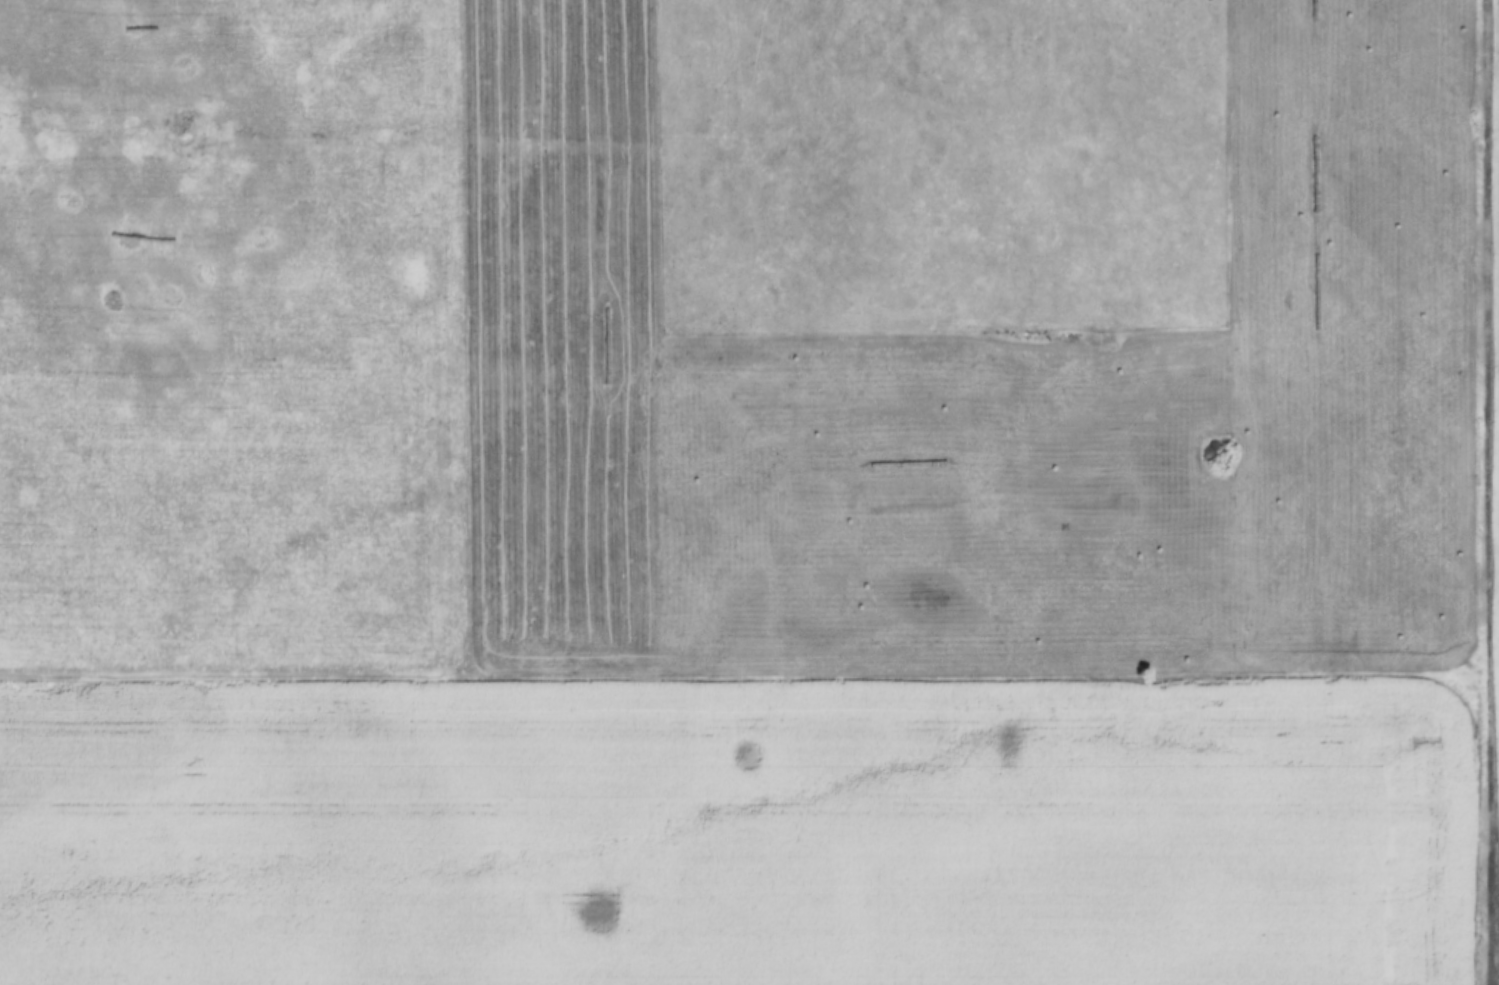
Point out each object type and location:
building: (234, 344)

